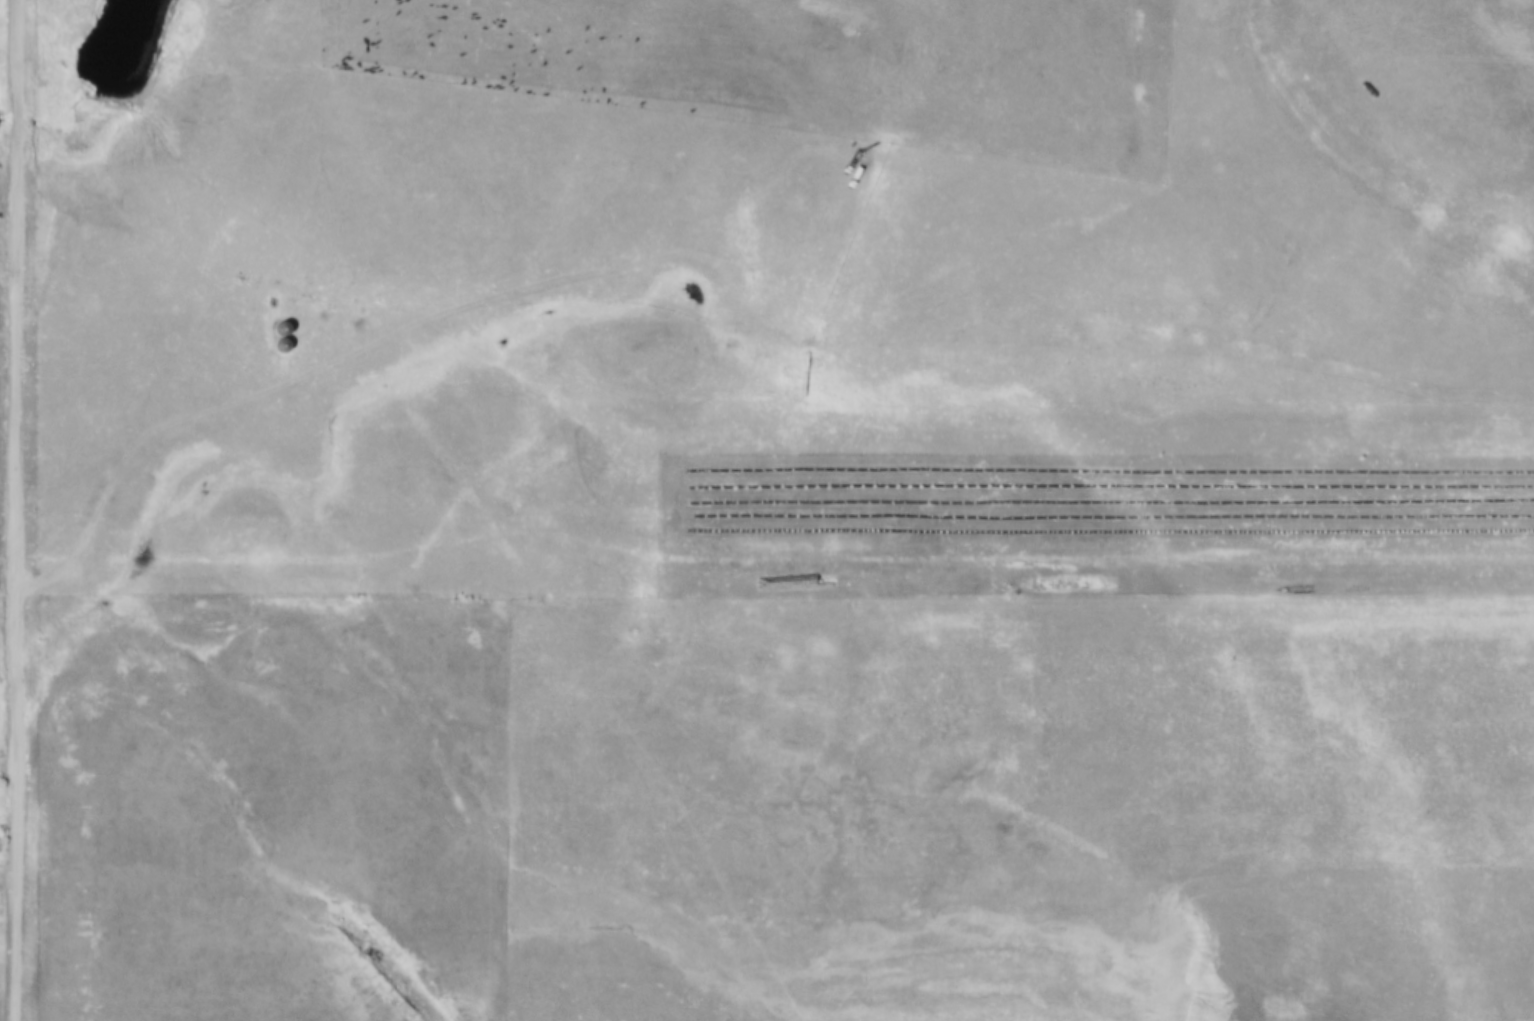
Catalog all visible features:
road: (208, 324)
building: (275, 336)
building: (808, 361)
road: (11, 510)

